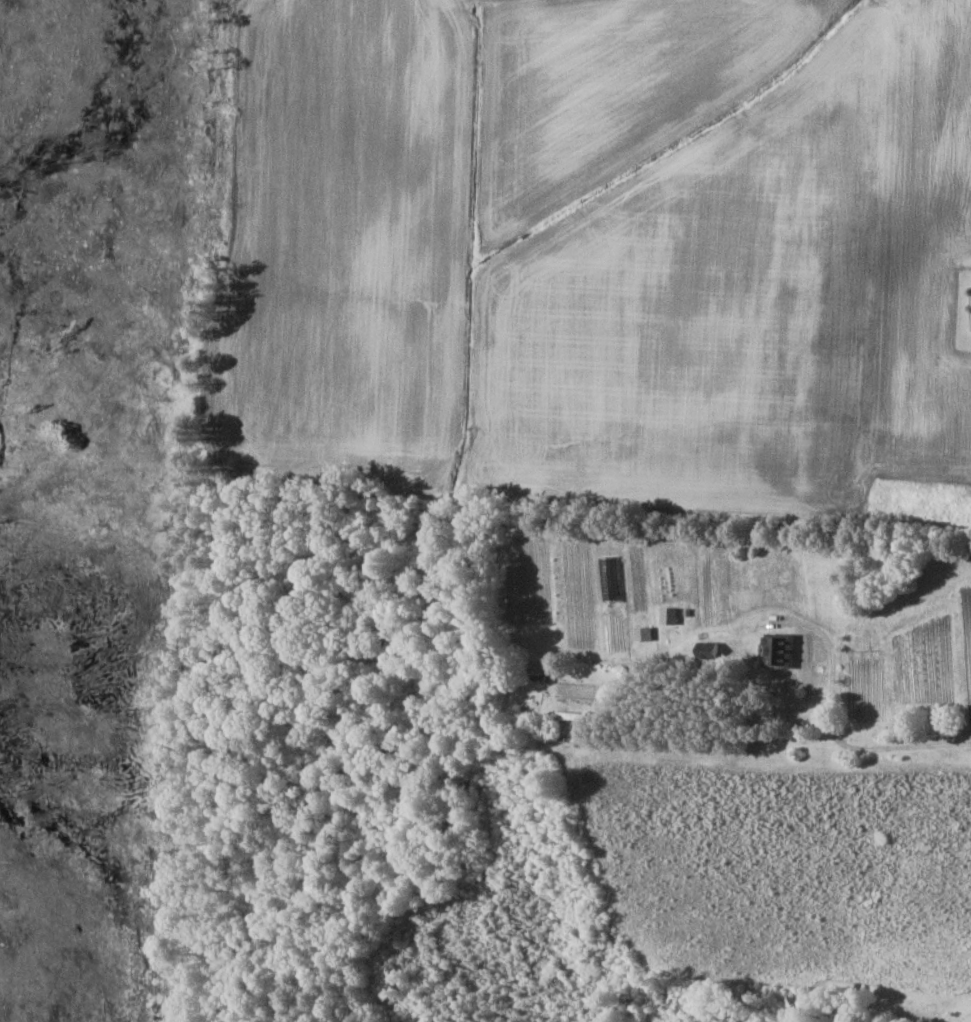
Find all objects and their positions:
building: (645, 633)
building: (781, 648)
building: (710, 649)
road: (863, 740)

